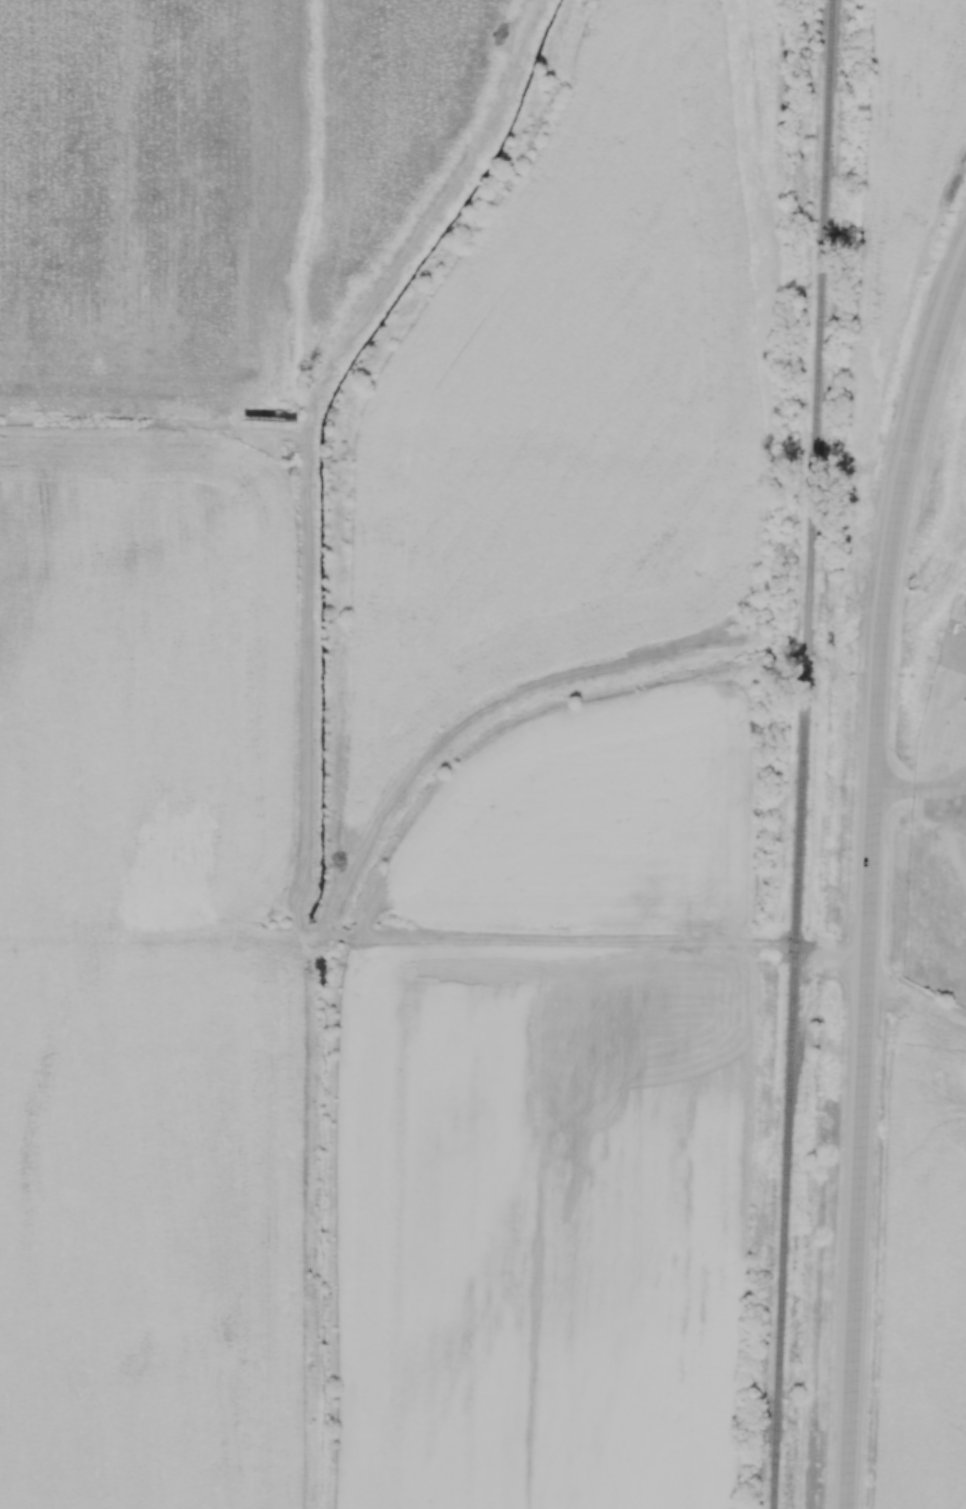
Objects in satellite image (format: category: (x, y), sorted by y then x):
railway: (817, 314)
road: (889, 517)
railway: (804, 639)
road: (918, 790)
road: (911, 1010)
railway: (786, 1080)
road: (852, 1149)

